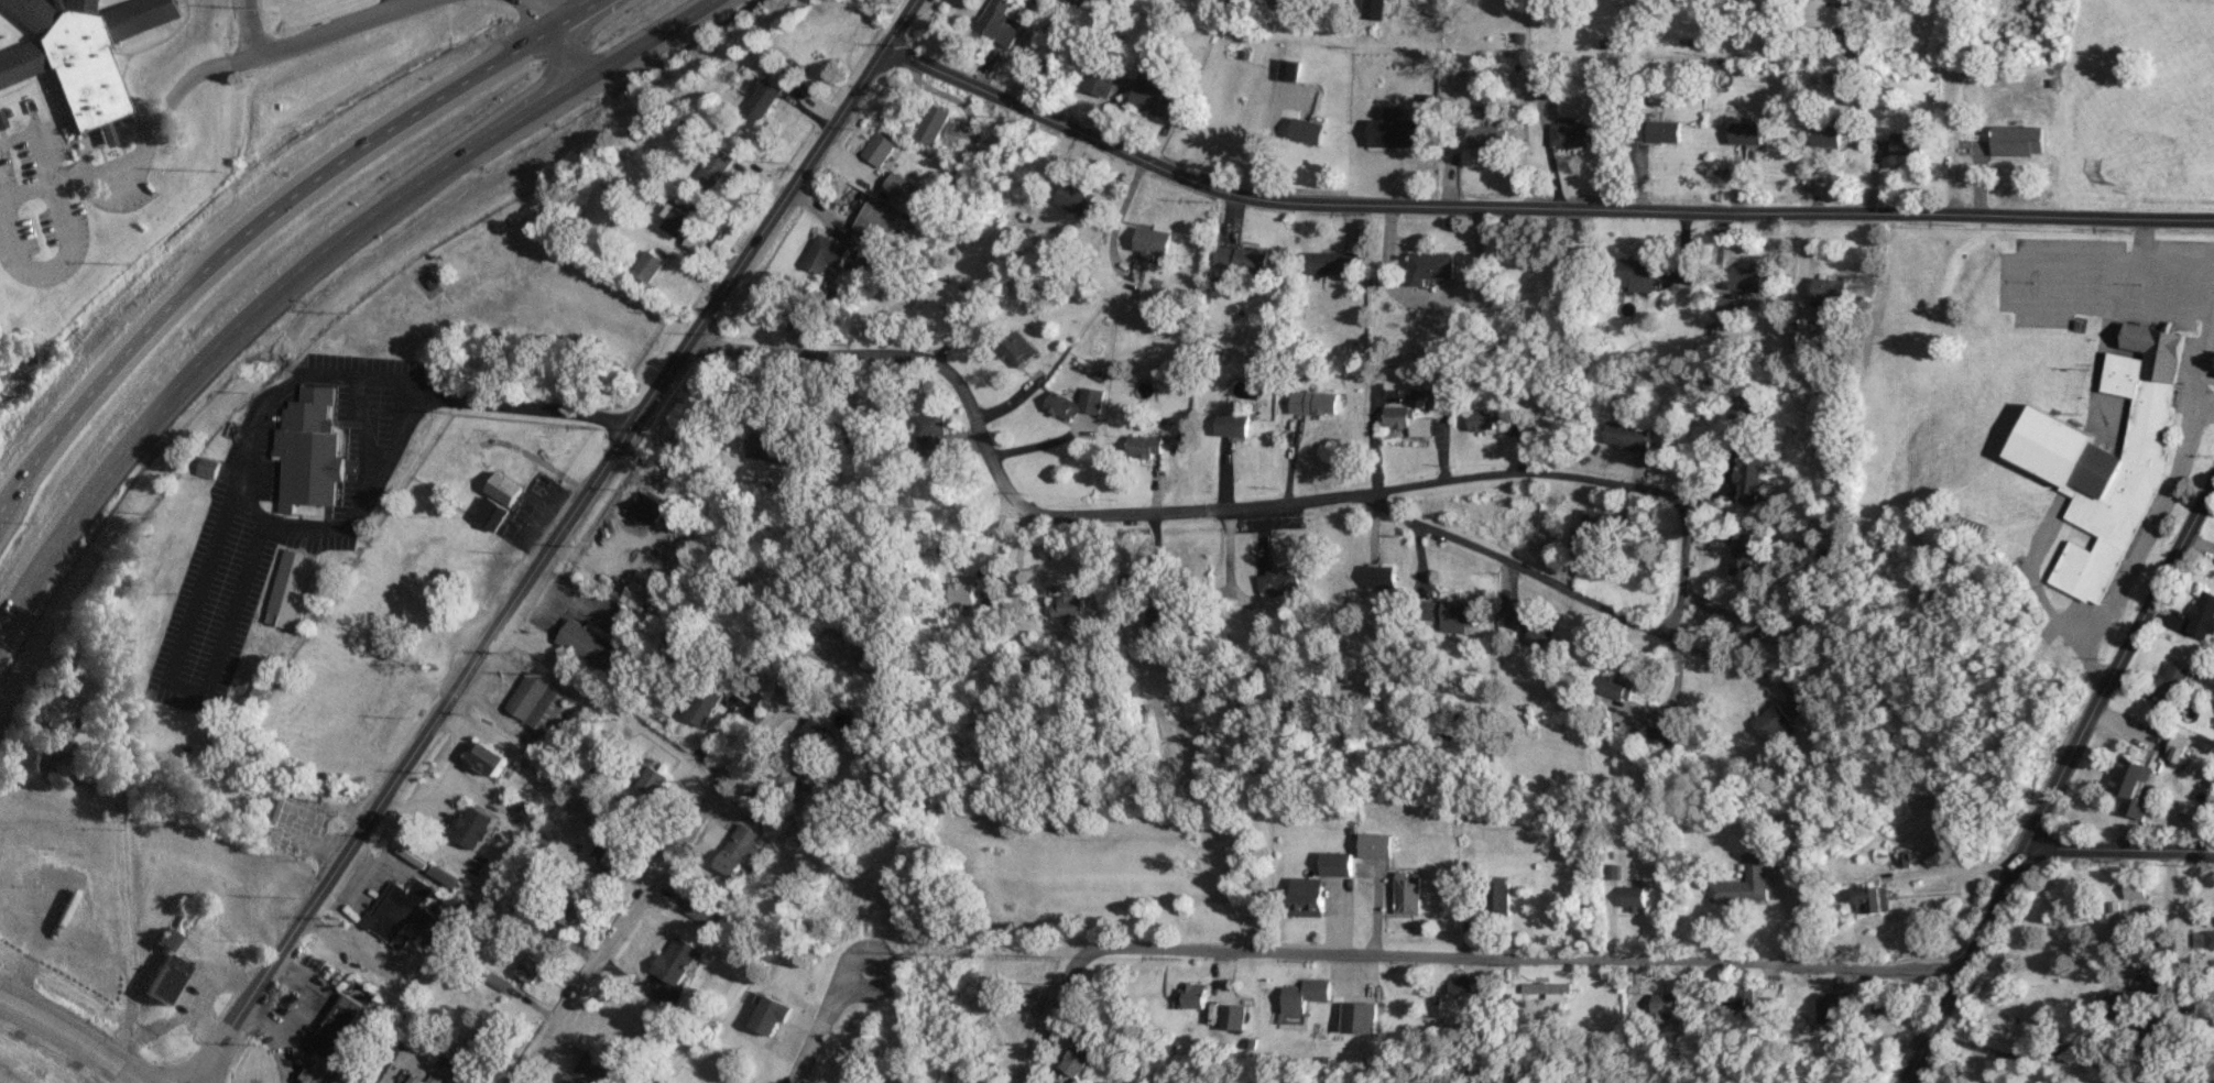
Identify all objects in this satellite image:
building: (1725, 0)
road: (390, 1)
road: (514, 1)
building: (1078, 2)
building: (1372, 9)
building: (1828, 15)
building: (999, 21)
road: (898, 22)
road: (244, 28)
road: (549, 37)
building: (77, 52)
road: (239, 58)
building: (1287, 70)
building: (1099, 80)
building: (1542, 90)
building: (1153, 94)
building: (763, 96)
building: (933, 123)
building: (1394, 130)
building: (1307, 131)
building: (1660, 131)
building: (1572, 133)
building: (1746, 133)
building: (1825, 134)
building: (1485, 136)
building: (2018, 140)
building: (1908, 142)
road: (37, 143)
building: (876, 149)
building: (712, 167)
road: (87, 172)
road: (26, 193)
building: (1075, 199)
road: (1534, 209)
road: (263, 217)
building: (677, 222)
building: (876, 223)
building: (694, 242)
building: (1152, 242)
road: (2144, 242)
building: (825, 254)
building: (1241, 258)
road: (307, 261)
building: (1334, 262)
road: (854, 264)
building: (647, 266)
road: (54, 267)
building: (1430, 267)
building: (1634, 275)
building: (1745, 278)
road: (2017, 285)
building: (1830, 289)
building: (946, 293)
building: (1016, 348)
road: (1403, 389)
building: (1073, 402)
building: (1313, 402)
building: (1741, 403)
road: (2204, 407)
road: (536, 411)
building: (1482, 418)
building: (1407, 419)
building: (1232, 423)
building: (852, 430)
building: (1732, 431)
building: (929, 435)
building: (1625, 435)
building: (1144, 446)
building: (307, 449)
building: (775, 449)
building: (2108, 459)
building: (207, 467)
building: (1748, 478)
building: (504, 488)
road: (1368, 494)
road: (1701, 495)
road: (2162, 503)
building: (648, 506)
building: (490, 514)
building: (1597, 529)
road: (1705, 529)
building: (1742, 554)
road: (542, 567)
building: (755, 572)
building: (1383, 577)
building: (1134, 581)
building: (1278, 584)
building: (286, 588)
building: (961, 592)
building: (991, 602)
building: (1073, 605)
road: (1713, 610)
building: (1452, 615)
building: (2203, 616)
building: (1164, 621)
building: (1508, 622)
building: (1542, 635)
building: (1773, 639)
building: (586, 644)
road: (172, 659)
road: (1723, 659)
road: (1675, 679)
building: (2172, 685)
building: (1618, 687)
building: (535, 701)
building: (704, 704)
road: (612, 705)
road: (1649, 709)
building: (1777, 723)
building: (861, 730)
building: (812, 731)
building: (1658, 735)
building: (48, 753)
building: (488, 757)
road: (2057, 770)
building: (651, 777)
building: (603, 778)
building: (2134, 785)
building: (775, 786)
building: (473, 827)
building: (1375, 844)
road: (2116, 849)
building: (740, 850)
building: (1335, 863)
building: (1613, 872)
building: (1744, 884)
road: (126, 890)
building: (1408, 893)
road: (643, 895)
building: (1306, 895)
building: (1498, 895)
road: (2169, 896)
building: (1872, 899)
building: (1635, 901)
building: (569, 905)
building: (704, 909)
building: (408, 912)
building: (2113, 922)
building: (166, 938)
building: (2211, 938)
road: (1449, 955)
building: (673, 960)
building: (528, 967)
building: (165, 977)
building: (1458, 986)
building: (2150, 986)
building: (1545, 989)
building: (1305, 994)
building: (1192, 995)
building: (1736, 997)
building: (1661, 1002)
building: (1889, 1003)
building: (2120, 1005)
building: (1825, 1014)
building: (1232, 1017)
road: (819, 1019)
building: (336, 1028)
building: (481, 1038)
road: (69, 1039)
road: (2021, 1053)
building: (1079, 1060)
building: (585, 1069)

